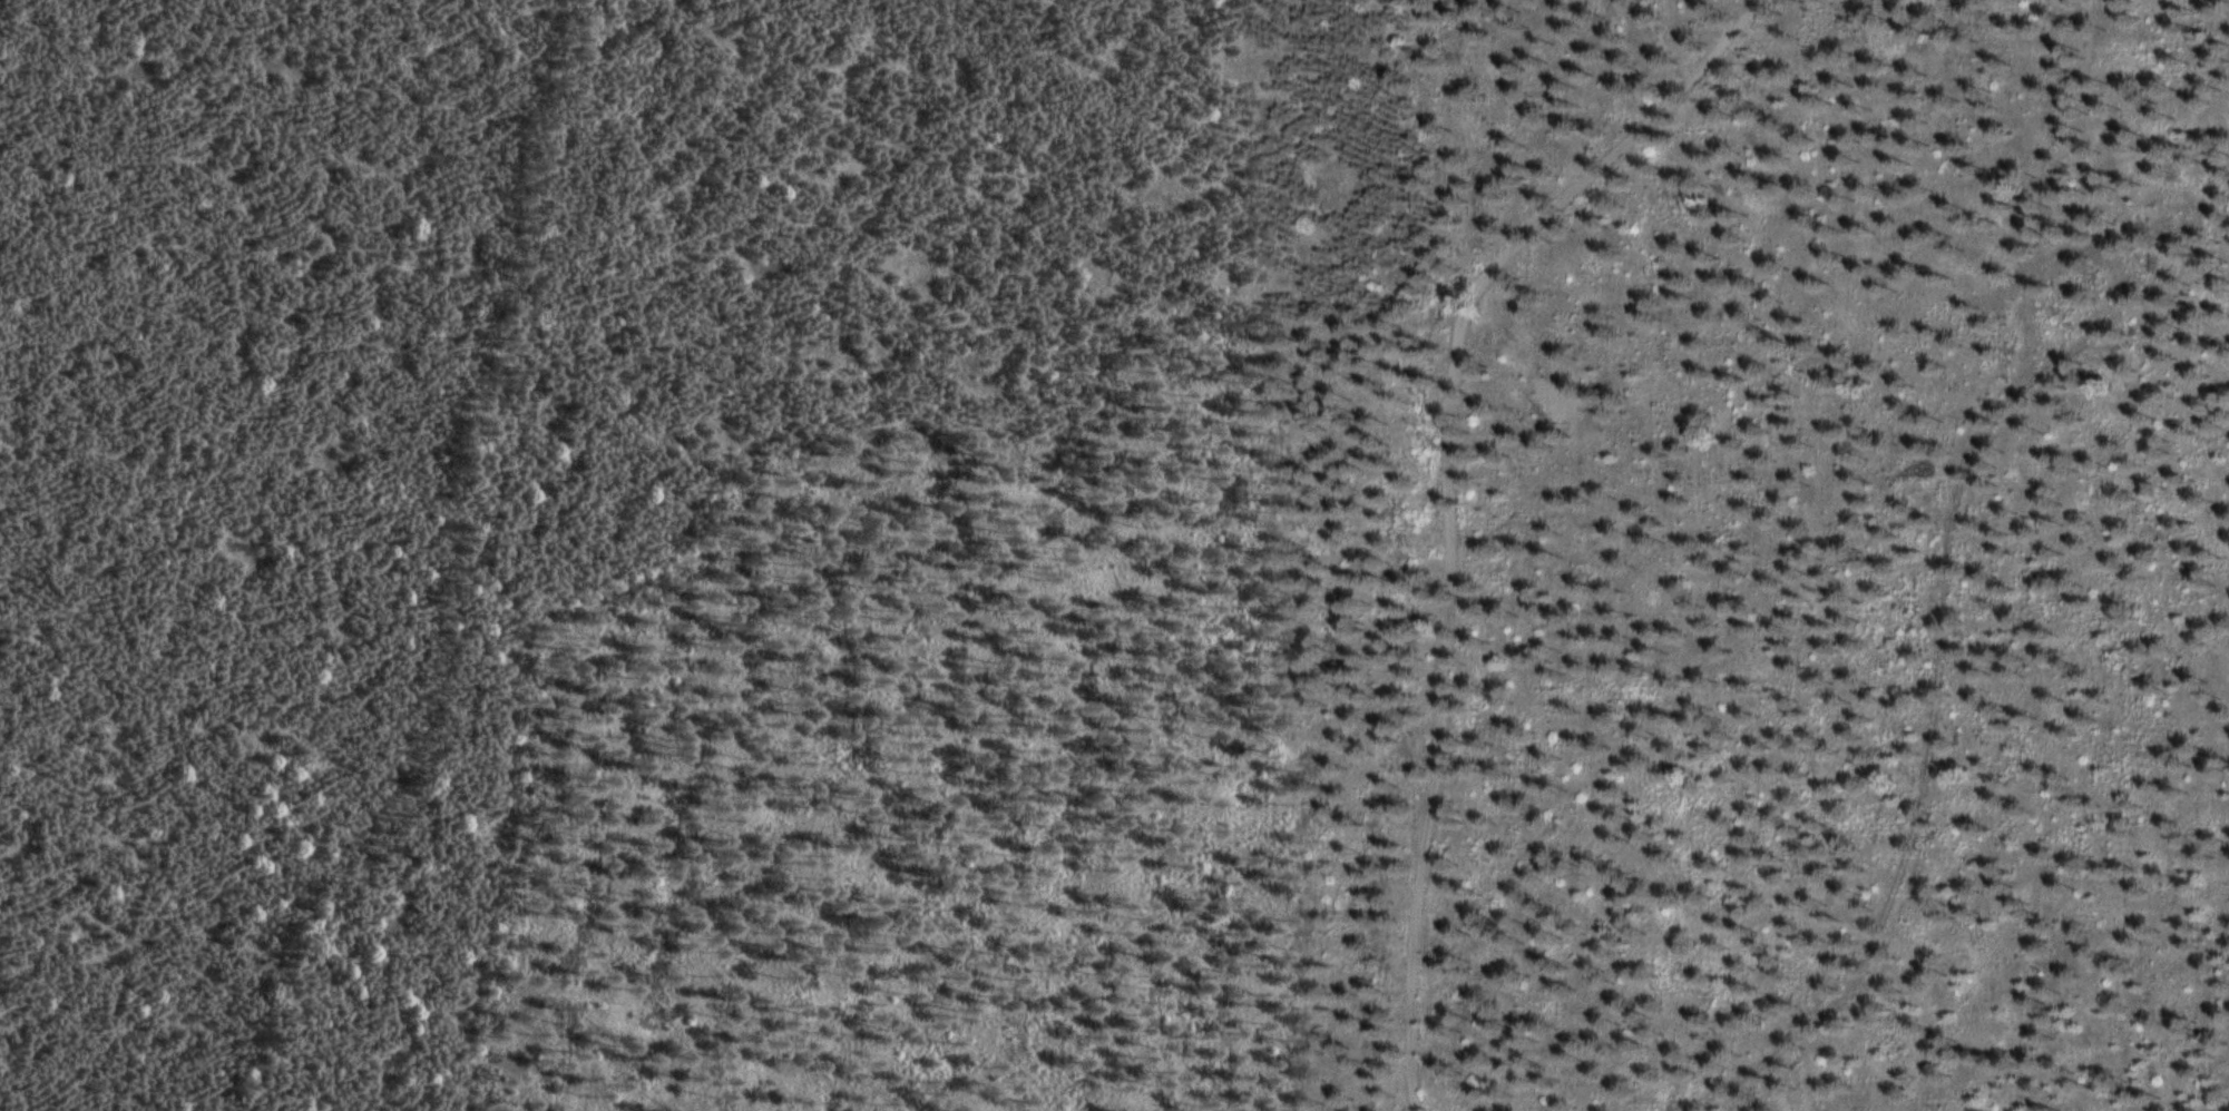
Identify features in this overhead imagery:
road: (1443, 492)

